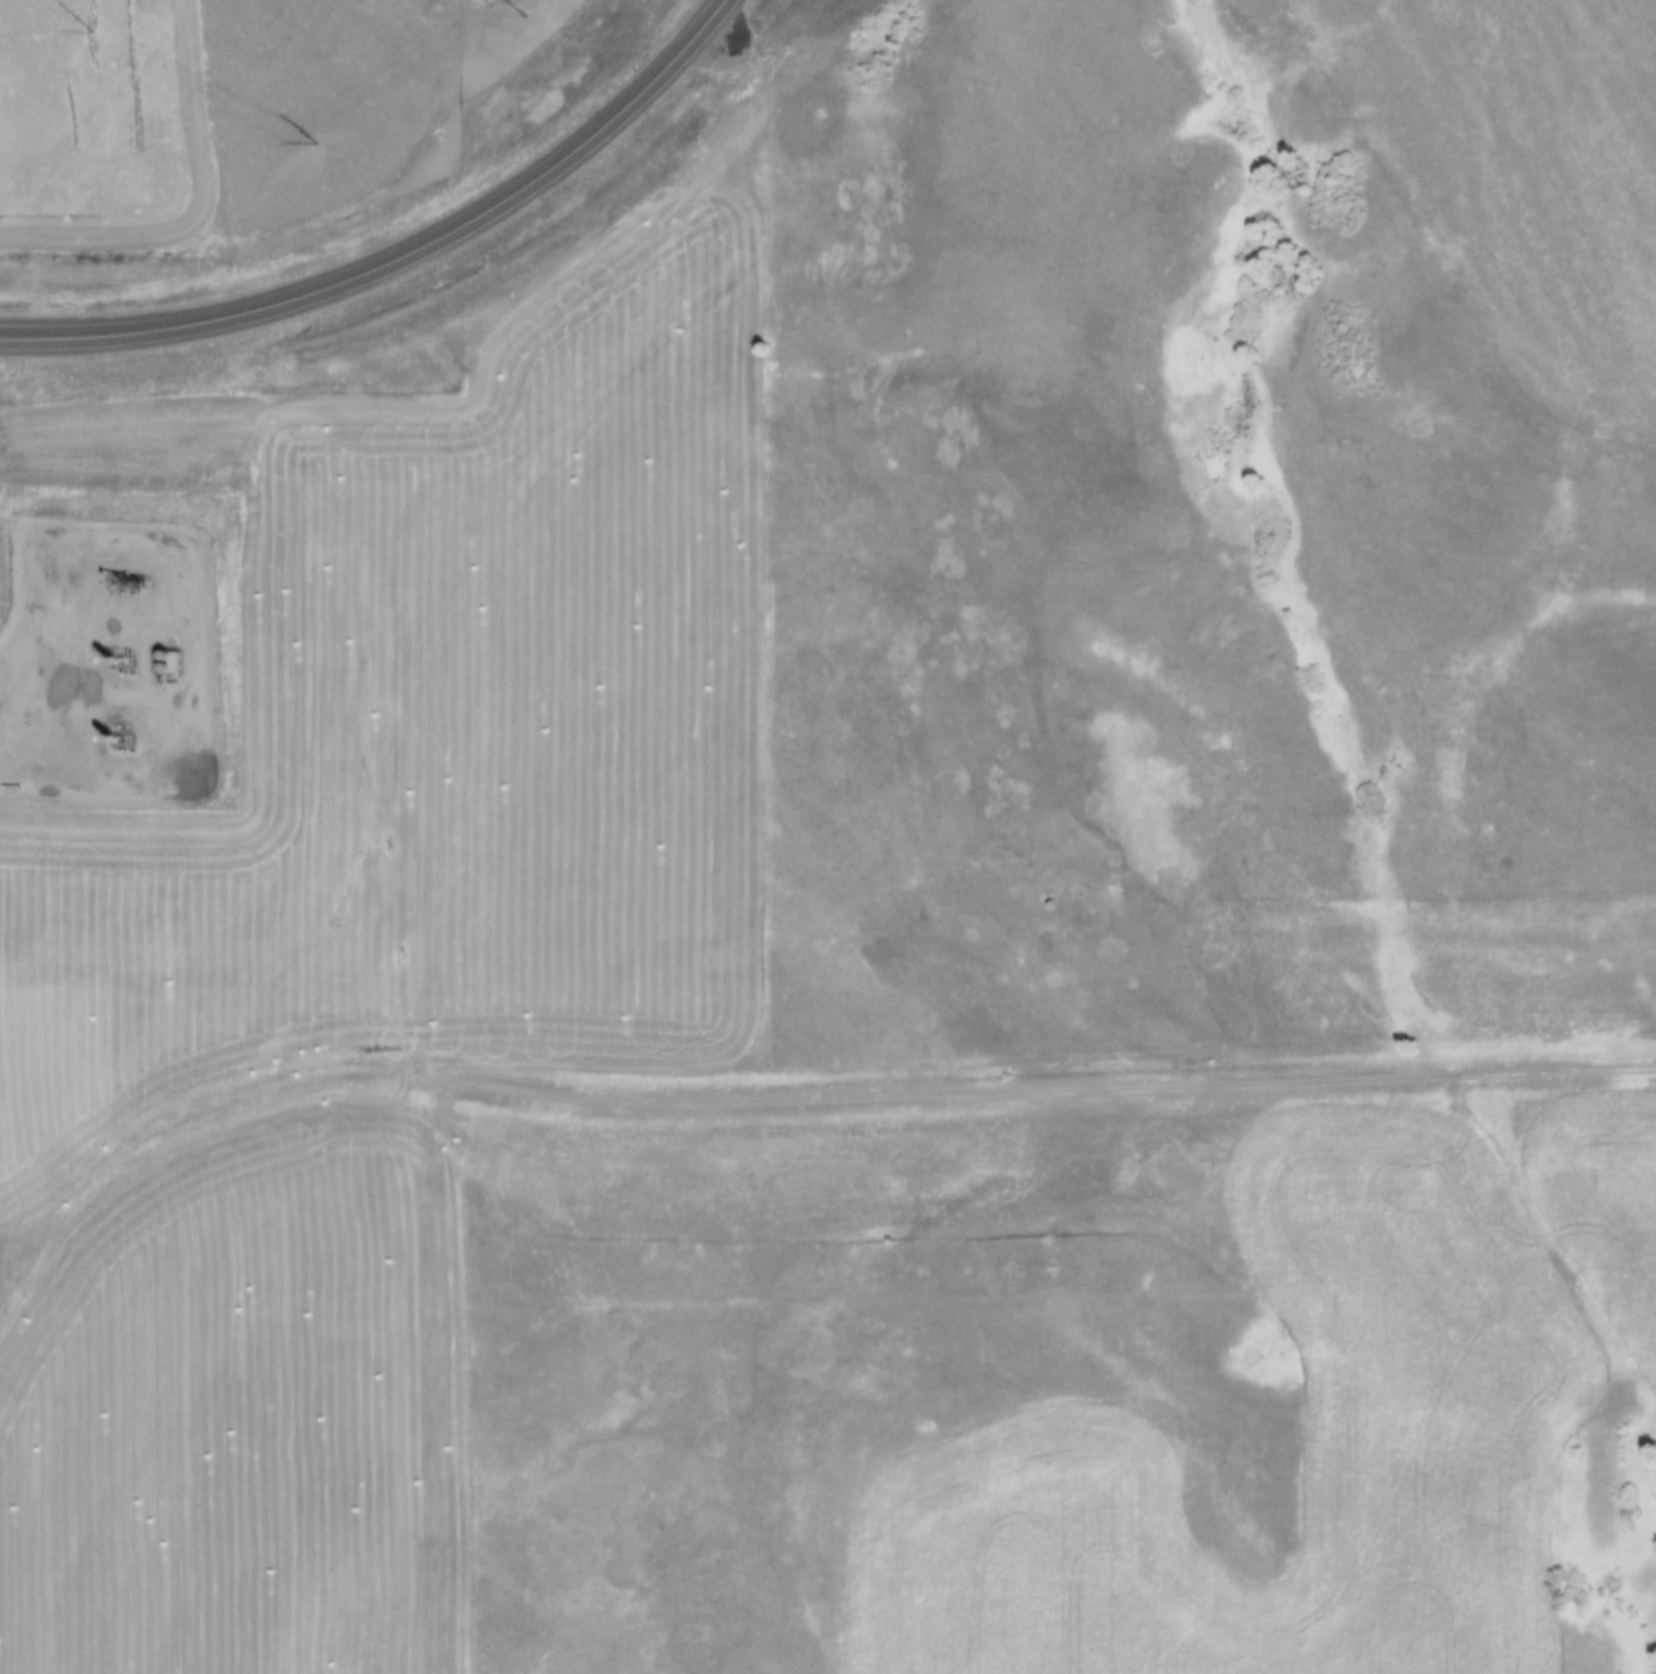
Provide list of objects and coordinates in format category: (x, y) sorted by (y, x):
road: (408, 274)
petroleum well: (122, 581)
road: (178, 602)
petroleum well: (111, 657)
petroleum well: (109, 739)
road: (760, 1104)
road: (1544, 1245)

